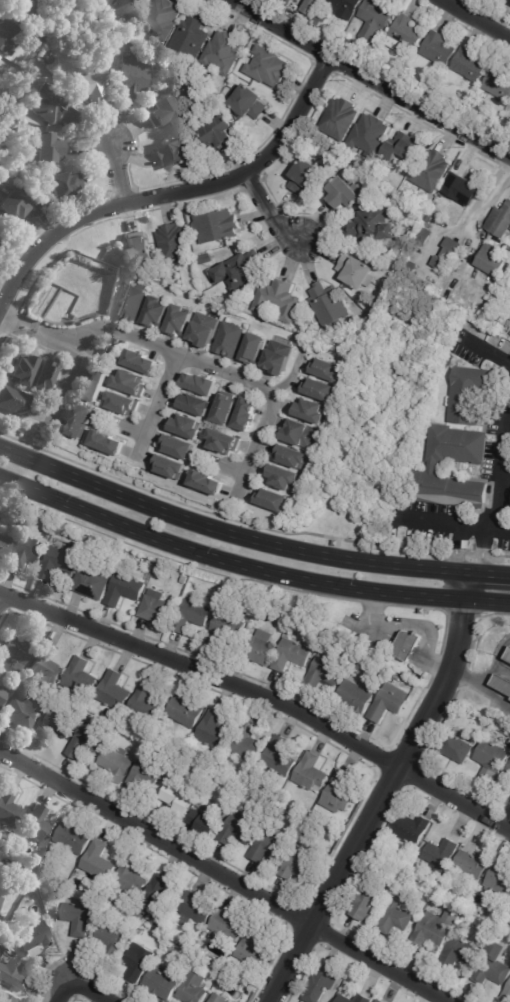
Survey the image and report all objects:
building: (282, 0)
building: (508, 1)
building: (100, 2)
building: (312, 6)
building: (31, 7)
building: (344, 7)
building: (130, 8)
building: (322, 17)
building: (161, 18)
road: (474, 19)
building: (376, 20)
building: (405, 34)
building: (8, 35)
building: (189, 39)
building: (41, 40)
building: (439, 49)
building: (224, 52)
building: (0, 57)
building: (29, 61)
building: (470, 64)
building: (268, 67)
building: (132, 76)
road: (372, 79)
building: (90, 84)
building: (499, 85)
building: (250, 102)
building: (52, 106)
building: (509, 107)
building: (164, 111)
building: (340, 119)
building: (221, 133)
building: (370, 135)
building: (403, 147)
building: (49, 148)
building: (175, 153)
building: (431, 171)
road: (117, 173)
building: (307, 177)
building: (64, 185)
building: (461, 189)
road: (174, 191)
building: (344, 195)
building: (15, 205)
building: (418, 209)
road: (266, 212)
building: (430, 217)
building: (500, 221)
building: (217, 226)
building: (373, 226)
building: (0, 230)
building: (2, 241)
building: (174, 245)
building: (137, 251)
building: (448, 255)
building: (206, 259)
building: (492, 260)
building: (357, 272)
building: (239, 273)
building: (279, 301)
building: (132, 303)
building: (329, 306)
building: (157, 313)
building: (180, 321)
road: (16, 322)
building: (204, 331)
building: (230, 340)
road: (151, 341)
building: (255, 349)
parking lot: (481, 351)
road: (485, 355)
building: (279, 358)
building: (141, 363)
building: (327, 369)
building: (23, 370)
building: (44, 375)
road: (69, 382)
building: (131, 384)
building: (200, 385)
building: (95, 386)
building: (319, 390)
building: (469, 394)
building: (14, 401)
building: (124, 404)
building: (195, 405)
road: (159, 406)
building: (225, 410)
building: (306, 410)
building: (244, 414)
road: (267, 421)
building: (81, 422)
building: (186, 427)
road: (135, 429)
building: (299, 434)
building: (222, 442)
building: (108, 444)
building: (454, 445)
building: (178, 447)
building: (291, 457)
road: (500, 461)
building: (168, 467)
road: (234, 472)
building: (279, 478)
building: (206, 482)
building: (230, 483)
building: (447, 489)
building: (273, 501)
building: (15, 512)
road: (434, 520)
road: (475, 524)
road: (500, 527)
parking lot: (451, 528)
road: (228, 533)
building: (4, 546)
road: (181, 549)
building: (25, 550)
road: (457, 550)
road: (480, 551)
building: (59, 562)
road: (488, 576)
building: (92, 582)
building: (125, 587)
road: (466, 587)
road: (1, 590)
road: (416, 597)
building: (214, 600)
road: (487, 602)
building: (157, 609)
building: (249, 612)
building: (191, 616)
road: (415, 626)
building: (225, 630)
road: (460, 635)
building: (408, 646)
building: (260, 647)
building: (17, 649)
building: (292, 654)
building: (509, 656)
road: (493, 661)
building: (44, 667)
building: (326, 672)
road: (462, 673)
building: (79, 676)
building: (502, 684)
building: (21, 687)
building: (113, 689)
building: (357, 692)
building: (2, 693)
road: (262, 693)
road: (490, 693)
building: (47, 698)
building: (389, 702)
building: (146, 703)
building: (22, 711)
building: (185, 711)
building: (54, 724)
building: (213, 728)
building: (471, 737)
building: (86, 740)
building: (246, 741)
building: (509, 743)
building: (457, 748)
building: (279, 757)
building: (492, 758)
building: (183, 761)
building: (117, 763)
building: (311, 772)
building: (508, 772)
building: (143, 776)
building: (251, 784)
building: (225, 791)
building: (339, 793)
building: (178, 797)
building: (210, 804)
building: (9, 807)
building: (316, 817)
building: (203, 822)
building: (37, 826)
building: (414, 829)
building: (238, 830)
road: (359, 835)
building: (73, 838)
building: (268, 845)
building: (440, 855)
building: (98, 861)
building: (473, 864)
building: (299, 865)
building: (0, 874)
road: (222, 878)
building: (130, 879)
building: (500, 879)
building: (24, 885)
building: (161, 895)
building: (1, 901)
building: (368, 902)
building: (196, 909)
building: (106, 911)
building: (398, 916)
building: (79, 917)
building: (495, 921)
building: (226, 927)
building: (435, 929)
building: (481, 931)
building: (499, 934)
building: (33, 937)
building: (113, 937)
building: (5, 940)
building: (160, 941)
building: (251, 949)
building: (458, 951)
building: (210, 959)
building: (138, 961)
building: (494, 965)
building: (13, 974)
building: (242, 977)
road: (77, 983)
building: (161, 983)
building: (321, 984)
building: (193, 989)
building: (506, 995)
building: (6, 997)
building: (219, 998)
building: (344, 999)
building: (363, 999)
building: (380, 1000)

